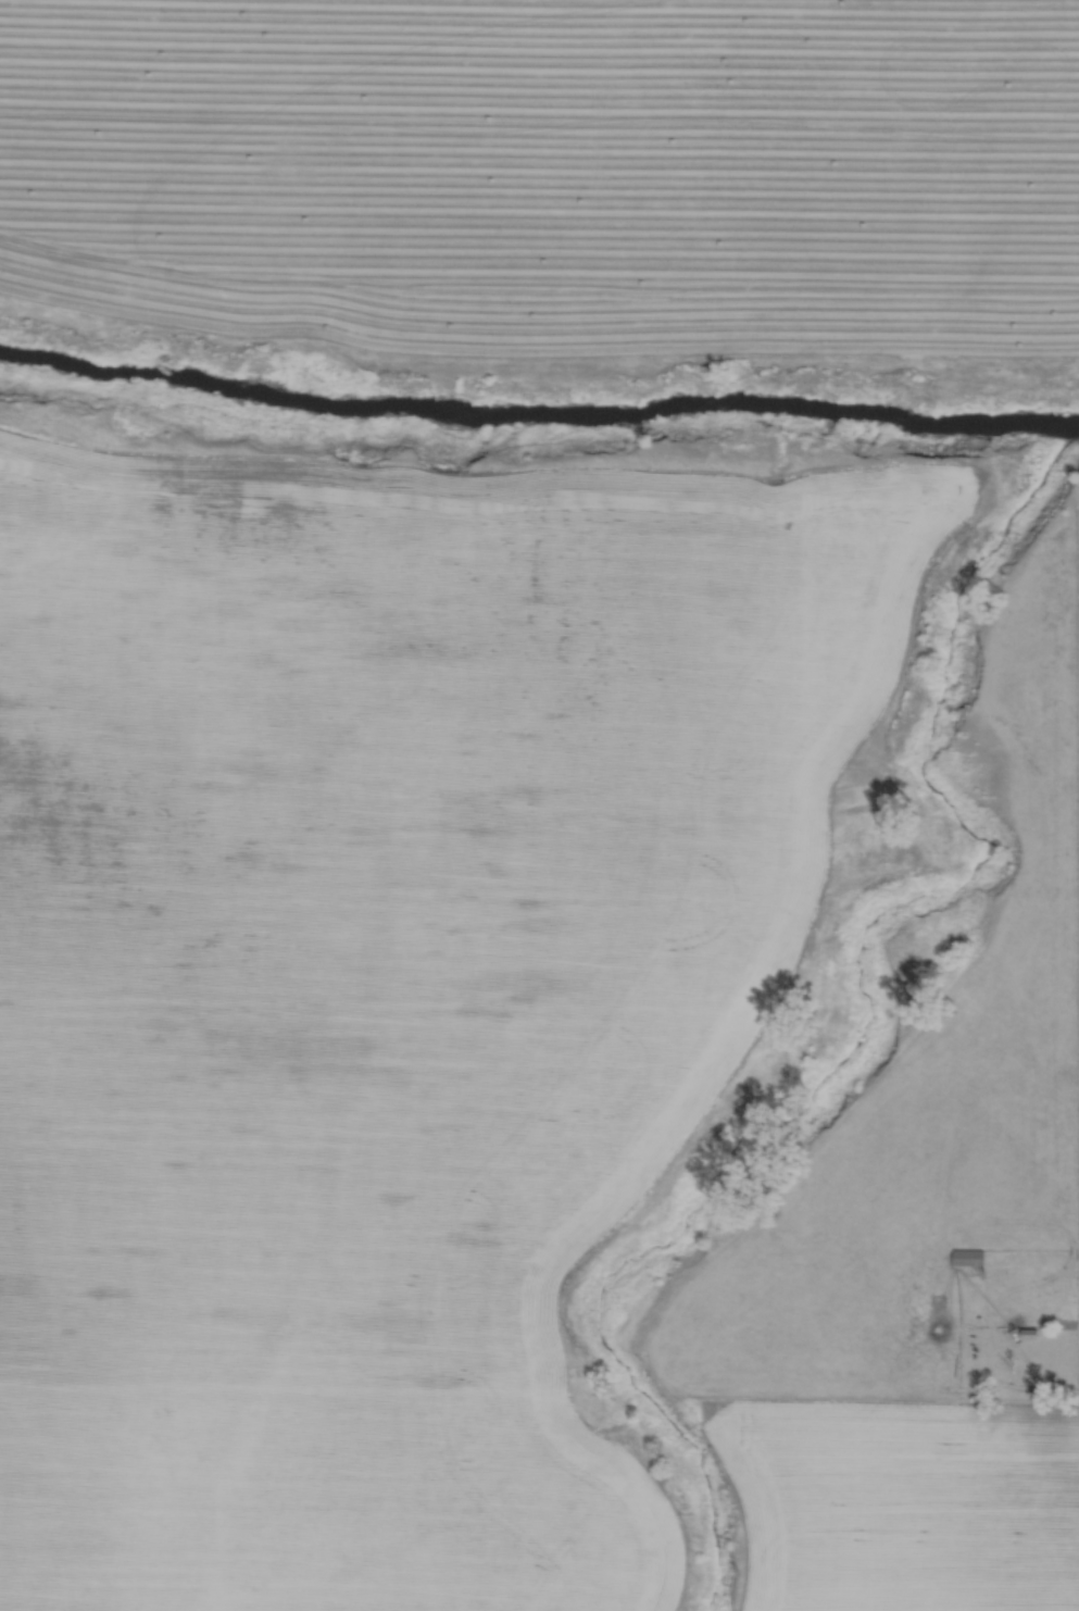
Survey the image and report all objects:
river: (537, 419)
river: (873, 1038)
building: (970, 1254)
building: (1032, 1334)

